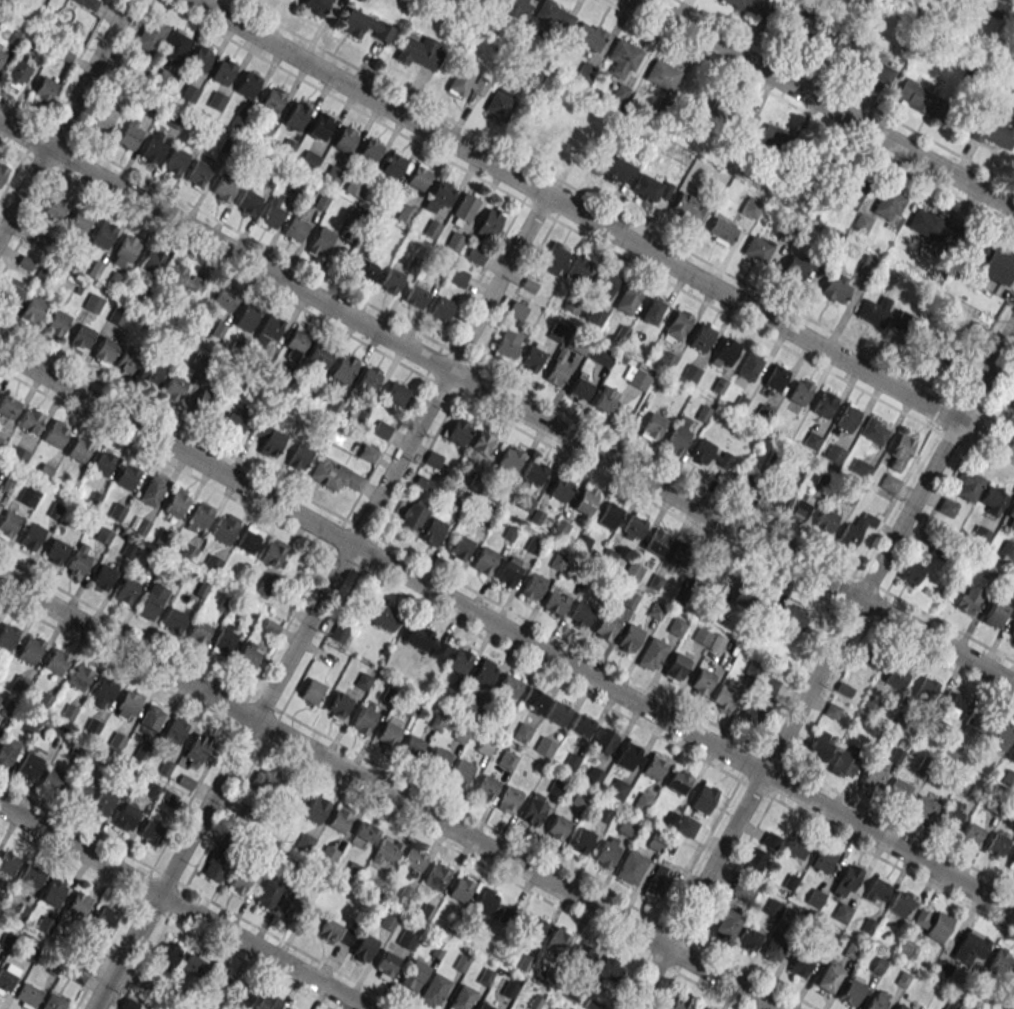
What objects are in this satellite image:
building: (733, 3)
building: (88, 4)
building: (515, 4)
building: (316, 6)
building: (996, 8)
building: (0, 17)
building: (551, 17)
building: (364, 25)
building: (794, 25)
building: (152, 36)
building: (587, 36)
building: (16, 38)
building: (0, 45)
building: (174, 47)
building: (420, 52)
building: (40, 53)
building: (623, 54)
building: (1, 55)
building: (200, 59)
building: (864, 67)
building: (223, 71)
building: (17, 73)
building: (660, 74)
building: (163, 79)
building: (532, 80)
building: (467, 82)
building: (247, 84)
building: (44, 90)
building: (189, 93)
road: (845, 93)
building: (273, 98)
road: (54, 99)
building: (921, 99)
building: (216, 101)
building: (499, 104)
road: (825, 104)
road: (355, 109)
building: (729, 112)
road: (807, 114)
building: (295, 116)
road: (65, 118)
building: (103, 120)
building: (175, 120)
building: (320, 127)
building: (987, 129)
road: (75, 135)
building: (129, 137)
building: (772, 138)
building: (345, 139)
building: (285, 148)
building: (154, 150)
building: (369, 152)
building: (810, 155)
building: (176, 161)
building: (309, 161)
building: (1013, 162)
building: (394, 164)
building: (614, 166)
building: (2, 172)
building: (198, 173)
building: (418, 177)
building: (848, 183)
building: (356, 186)
building: (651, 186)
building: (224, 188)
building: (438, 196)
road: (591, 198)
building: (248, 202)
building: (886, 202)
building: (465, 206)
building: (689, 208)
building: (751, 208)
building: (405, 214)
building: (272, 215)
building: (489, 222)
building: (862, 222)
building: (78, 223)
building: (932, 227)
building: (295, 228)
road: (604, 228)
building: (721, 231)
building: (103, 234)
building: (320, 240)
building: (454, 242)
building: (756, 250)
building: (126, 251)
building: (554, 255)
building: (152, 259)
building: (997, 262)
building: (868, 264)
building: (800, 266)
building: (577, 268)
building: (364, 270)
building: (42, 275)
building: (185, 280)
building: (391, 280)
building: (531, 282)
building: (605, 284)
building: (835, 288)
building: (11, 293)
building: (416, 295)
building: (225, 298)
building: (628, 298)
building: (93, 303)
building: (34, 307)
building: (876, 308)
building: (441, 309)
building: (517, 310)
building: (651, 311)
building: (596, 316)
building: (245, 318)
building: (57, 323)
building: (677, 324)
building: (556, 331)
building: (268, 332)
building: (701, 337)
building: (82, 338)
building: (295, 343)
building: (508, 343)
road: (783, 346)
building: (104, 351)
building: (726, 351)
road: (972, 356)
building: (602, 357)
building: (319, 358)
building: (531, 359)
building: (127, 360)
building: (946, 363)
building: (749, 367)
building: (557, 369)
building: (342, 371)
building: (150, 373)
building: (689, 373)
building: (637, 378)
building: (776, 378)
building: (369, 379)
road: (507, 381)
building: (579, 388)
building: (172, 389)
building: (800, 391)
building: (395, 393)
building: (1010, 393)
building: (604, 401)
building: (204, 402)
road: (506, 404)
building: (9, 405)
building: (823, 405)
building: (846, 418)
building: (31, 420)
building: (234, 422)
road: (172, 423)
building: (653, 427)
building: (457, 431)
building: (874, 431)
building: (56, 434)
building: (678, 437)
building: (268, 438)
building: (479, 444)
building: (79, 448)
building: (901, 449)
building: (709, 453)
building: (835, 454)
building: (18, 455)
building: (299, 457)
building: (432, 459)
building: (510, 459)
building: (102, 462)
road: (180, 469)
building: (860, 469)
building: (534, 472)
building: (335, 475)
building: (126, 476)
building: (747, 483)
building: (889, 483)
building: (968, 486)
building: (560, 488)
building: (152, 491)
building: (29, 495)
building: (0, 496)
building: (774, 496)
building: (992, 499)
building: (584, 501)
building: (176, 502)
building: (459, 505)
building: (947, 507)
building: (799, 508)
road: (347, 513)
building: (413, 515)
building: (610, 515)
building: (536, 516)
building: (1010, 516)
building: (199, 517)
building: (483, 518)
building: (824, 523)
building: (8, 524)
building: (633, 526)
building: (225, 528)
building: (559, 528)
building: (855, 530)
building: (432, 531)
building: (510, 533)
building: (979, 535)
building: (31, 536)
building: (248, 540)
building: (656, 542)
building: (582, 543)
building: (533, 545)
road: (888, 547)
building: (460, 548)
building: (1007, 550)
building: (55, 552)
building: (682, 552)
building: (273, 553)
building: (608, 557)
building: (485, 559)
building: (78, 561)
building: (633, 570)
building: (912, 571)
building: (509, 572)
building: (712, 575)
building: (102, 578)
building: (532, 588)
building: (126, 590)
building: (744, 597)
building: (969, 599)
building: (630, 600)
building: (152, 601)
road: (319, 602)
building: (556, 602)
building: (656, 611)
building: (581, 613)
building: (995, 614)
building: (382, 616)
building: (716, 616)
building: (789, 618)
building: (174, 619)
building: (604, 627)
building: (677, 627)
road: (506, 631)
building: (199, 633)
building: (7, 636)
building: (702, 636)
building: (1011, 636)
building: (629, 637)
building: (225, 638)
building: (427, 642)
road: (571, 644)
building: (30, 651)
building: (652, 654)
building: (871, 654)
building: (249, 655)
building: (57, 661)
building: (459, 661)
building: (676, 667)
road: (211, 673)
building: (483, 673)
road: (553, 676)
building: (896, 676)
building: (79, 677)
building: (363, 681)
building: (703, 681)
building: (19, 683)
building: (509, 685)
building: (926, 690)
building: (312, 691)
building: (102, 692)
building: (728, 697)
building: (535, 698)
building: (760, 699)
building: (127, 703)
building: (338, 705)
building: (472, 706)
building: (950, 707)
building: (832, 710)
building: (557, 713)
building: (151, 717)
building: (979, 718)
building: (363, 720)
building: (499, 724)
building: (581, 726)
building: (175, 730)
building: (522, 732)
building: (388, 733)
building: (1001, 735)
building: (604, 741)
building: (820, 743)
building: (412, 746)
building: (545, 747)
building: (196, 750)
building: (8, 751)
building: (627, 754)
building: (1011, 754)
road: (773, 755)
building: (440, 757)
building: (847, 758)
building: (507, 760)
building: (571, 762)
building: (29, 766)
building: (653, 766)
building: (461, 773)
building: (873, 776)
building: (594, 777)
building: (54, 778)
building: (1008, 779)
building: (271, 781)
building: (678, 781)
road: (755, 787)
building: (486, 788)
building: (555, 788)
building: (617, 788)
building: (899, 789)
building: (80, 790)
road: (388, 794)
building: (703, 797)
building: (508, 799)
building: (103, 801)
building: (579, 801)
building: (641, 802)
building: (924, 807)
building: (315, 809)
road: (457, 809)
building: (534, 809)
building: (603, 814)
building: (951, 816)
building: (126, 817)
building: (340, 818)
road: (898, 824)
building: (686, 826)
building: (627, 828)
building: (556, 829)
building: (366, 831)
building: (150, 833)
building: (970, 834)
building: (771, 840)
building: (580, 842)
building: (656, 842)
building: (996, 844)
building: (796, 848)
building: (386, 851)
building: (607, 852)
building: (328, 855)
building: (414, 859)
road: (714, 860)
building: (754, 860)
building: (822, 860)
road: (889, 861)
building: (8, 862)
building: (1011, 863)
building: (631, 867)
building: (215, 868)
building: (31, 875)
building: (436, 876)
building: (847, 880)
building: (239, 881)
building: (658, 881)
building: (460, 889)
building: (742, 890)
building: (877, 890)
building: (53, 892)
road: (180, 893)
building: (268, 894)
building: (815, 898)
building: (485, 902)
building: (79, 904)
building: (901, 904)
road: (183, 907)
building: (841, 913)
building: (104, 919)
building: (725, 922)
building: (44, 924)
building: (932, 924)
building: (534, 927)
building: (336, 933)
road: (202, 938)
building: (747, 938)
building: (406, 939)
building: (558, 941)
building: (775, 946)
building: (971, 946)
road: (294, 947)
building: (364, 947)
building: (852, 951)
building: (167, 956)
building: (0, 957)
building: (581, 958)
building: (1000, 960)
building: (193, 965)
building: (385, 965)
building: (800, 965)
building: (941, 969)
building: (608, 973)
building: (76, 975)
building: (413, 975)
building: (7, 976)
building: (1013, 976)
road: (648, 978)
building: (827, 978)
building: (218, 982)
building: (434, 990)
building: (853, 990)
building: (27, 996)
building: (240, 998)
building: (462, 998)
building: (877, 1000)
building: (53, 1002)
building: (269, 1002)
building: (129, 1004)
building: (677, 1004)
building: (484, 1006)
building: (901, 1006)
building: (289, 1008)
building: (558, 1008)
building: (698, 1008)

